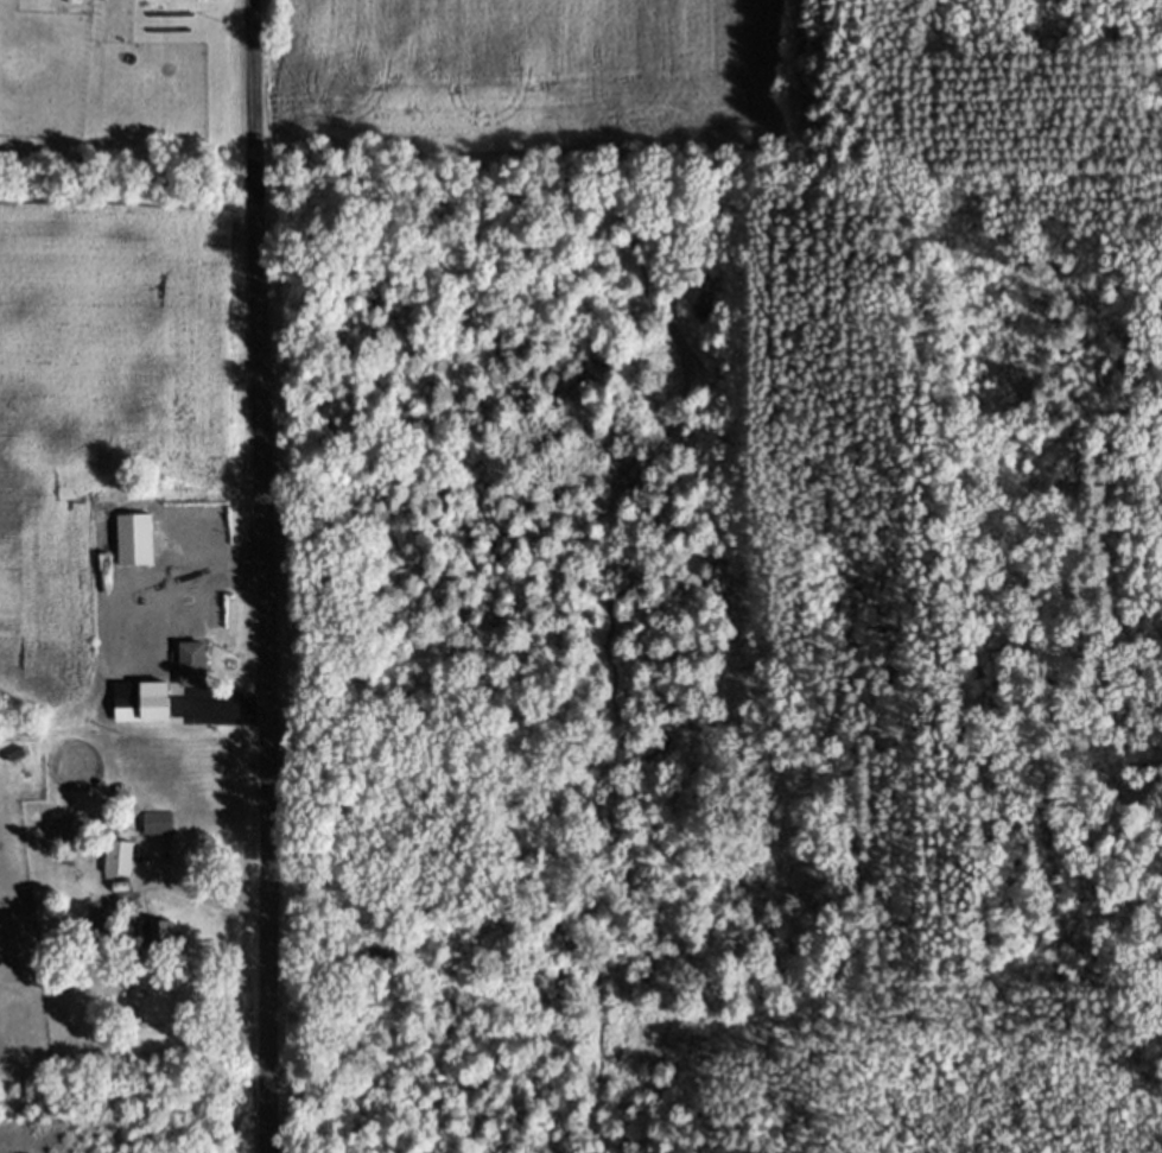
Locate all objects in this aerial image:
crop: (548, 72)
road: (254, 93)
crop: (110, 369)
building: (138, 541)
building: (199, 666)
road: (266, 669)
building: (131, 703)
building: (164, 703)
building: (163, 825)
building: (123, 860)
road: (207, 898)
building: (163, 937)
park: (134, 1122)

